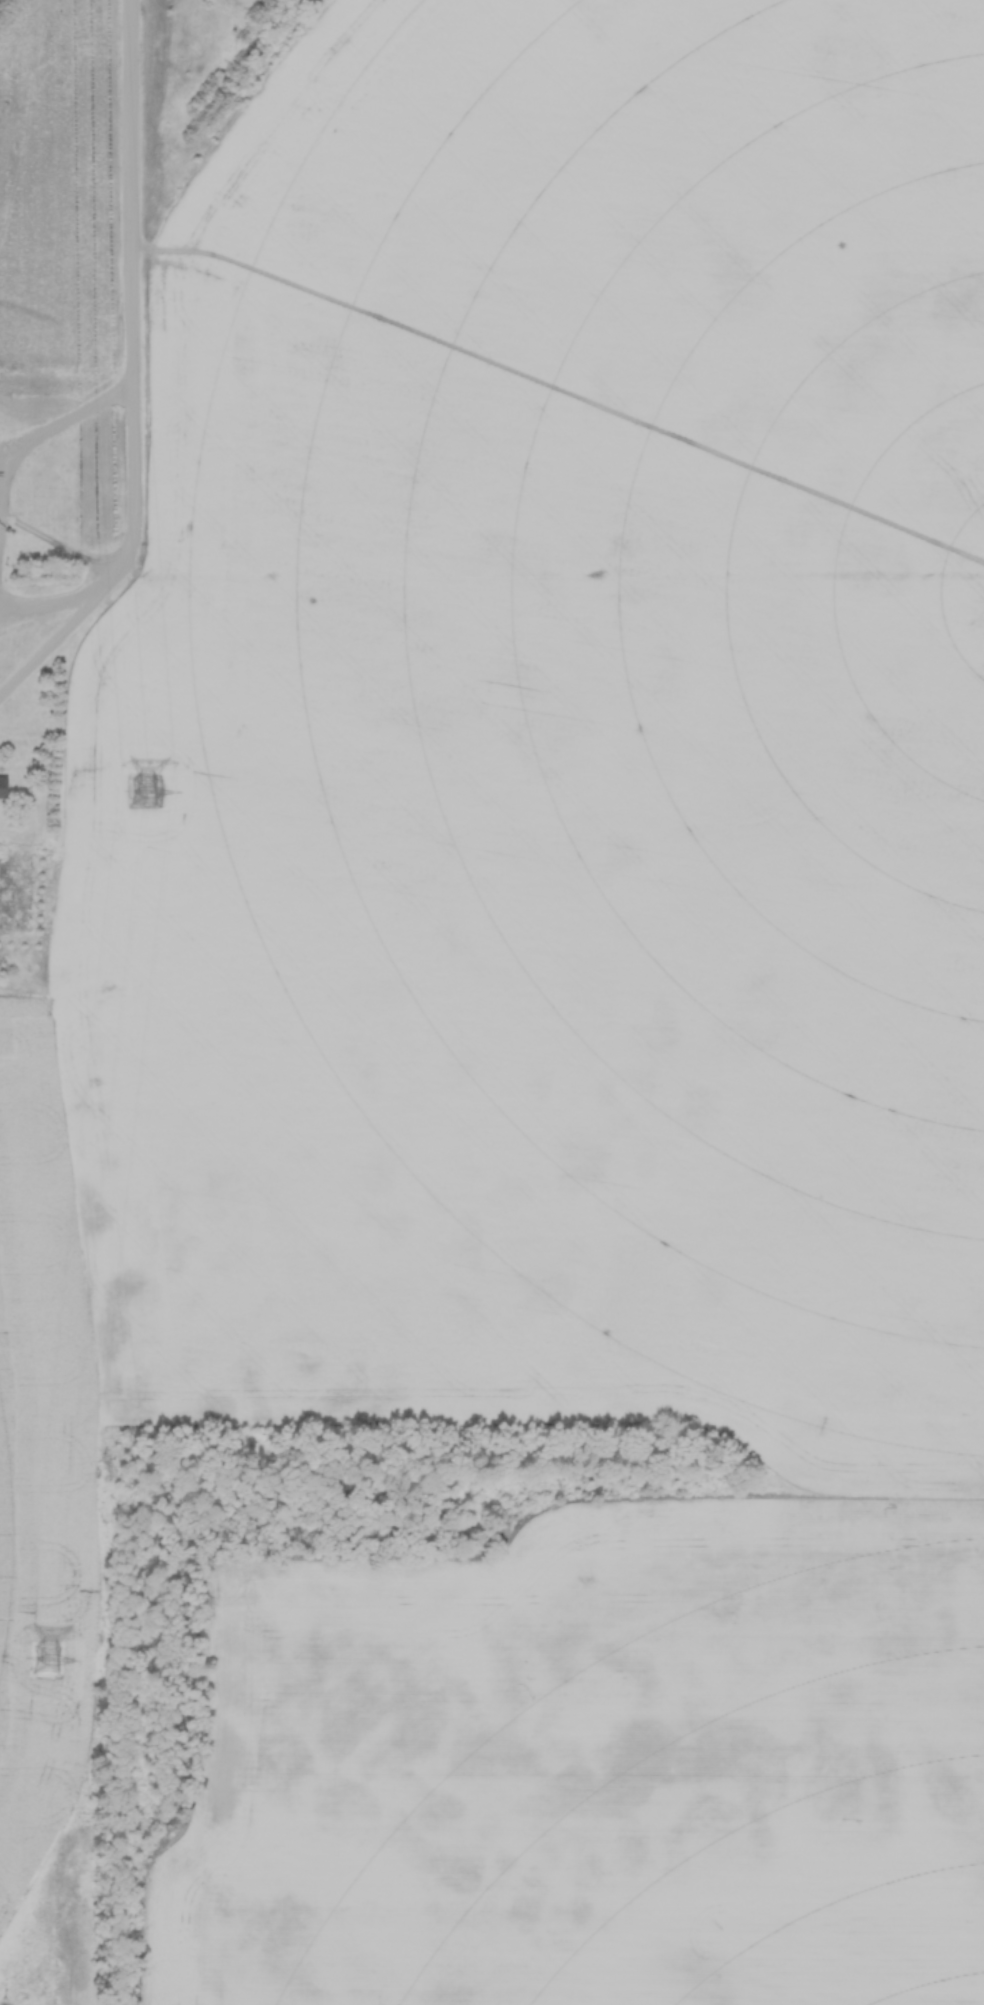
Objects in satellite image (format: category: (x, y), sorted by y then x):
road: (134, 307)
road: (83, 616)
building: (6, 787)
power tower: (150, 794)
power tower: (51, 1659)

